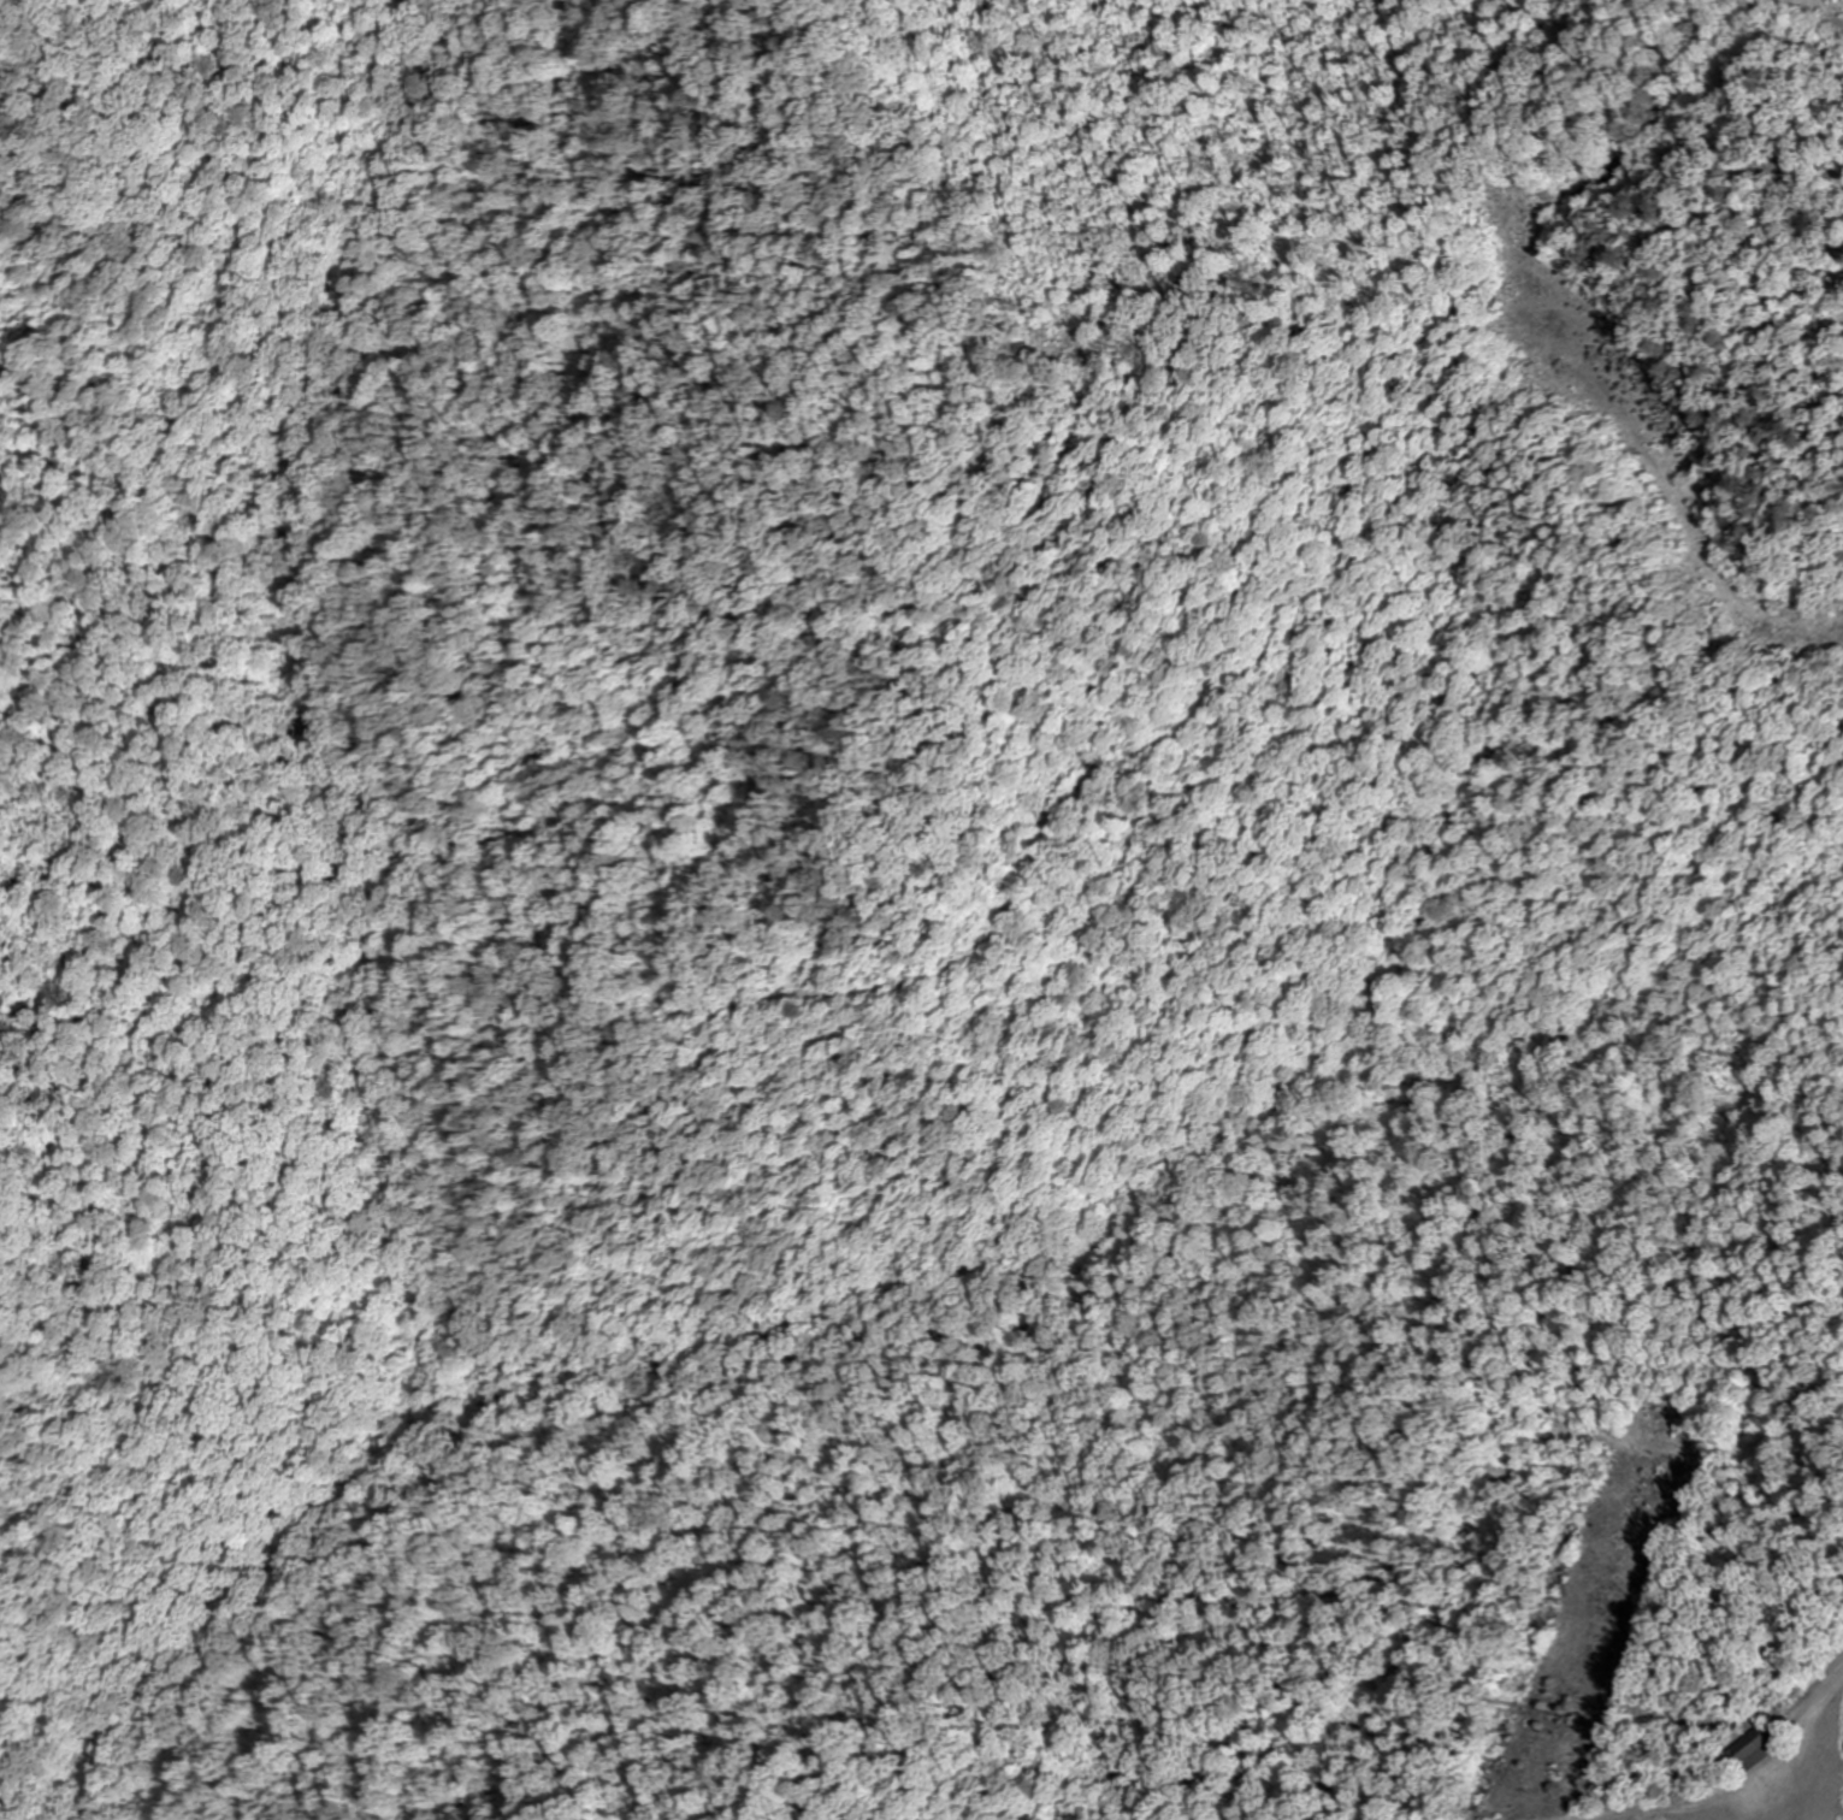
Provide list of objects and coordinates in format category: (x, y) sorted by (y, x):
building: (1748, 1753)

